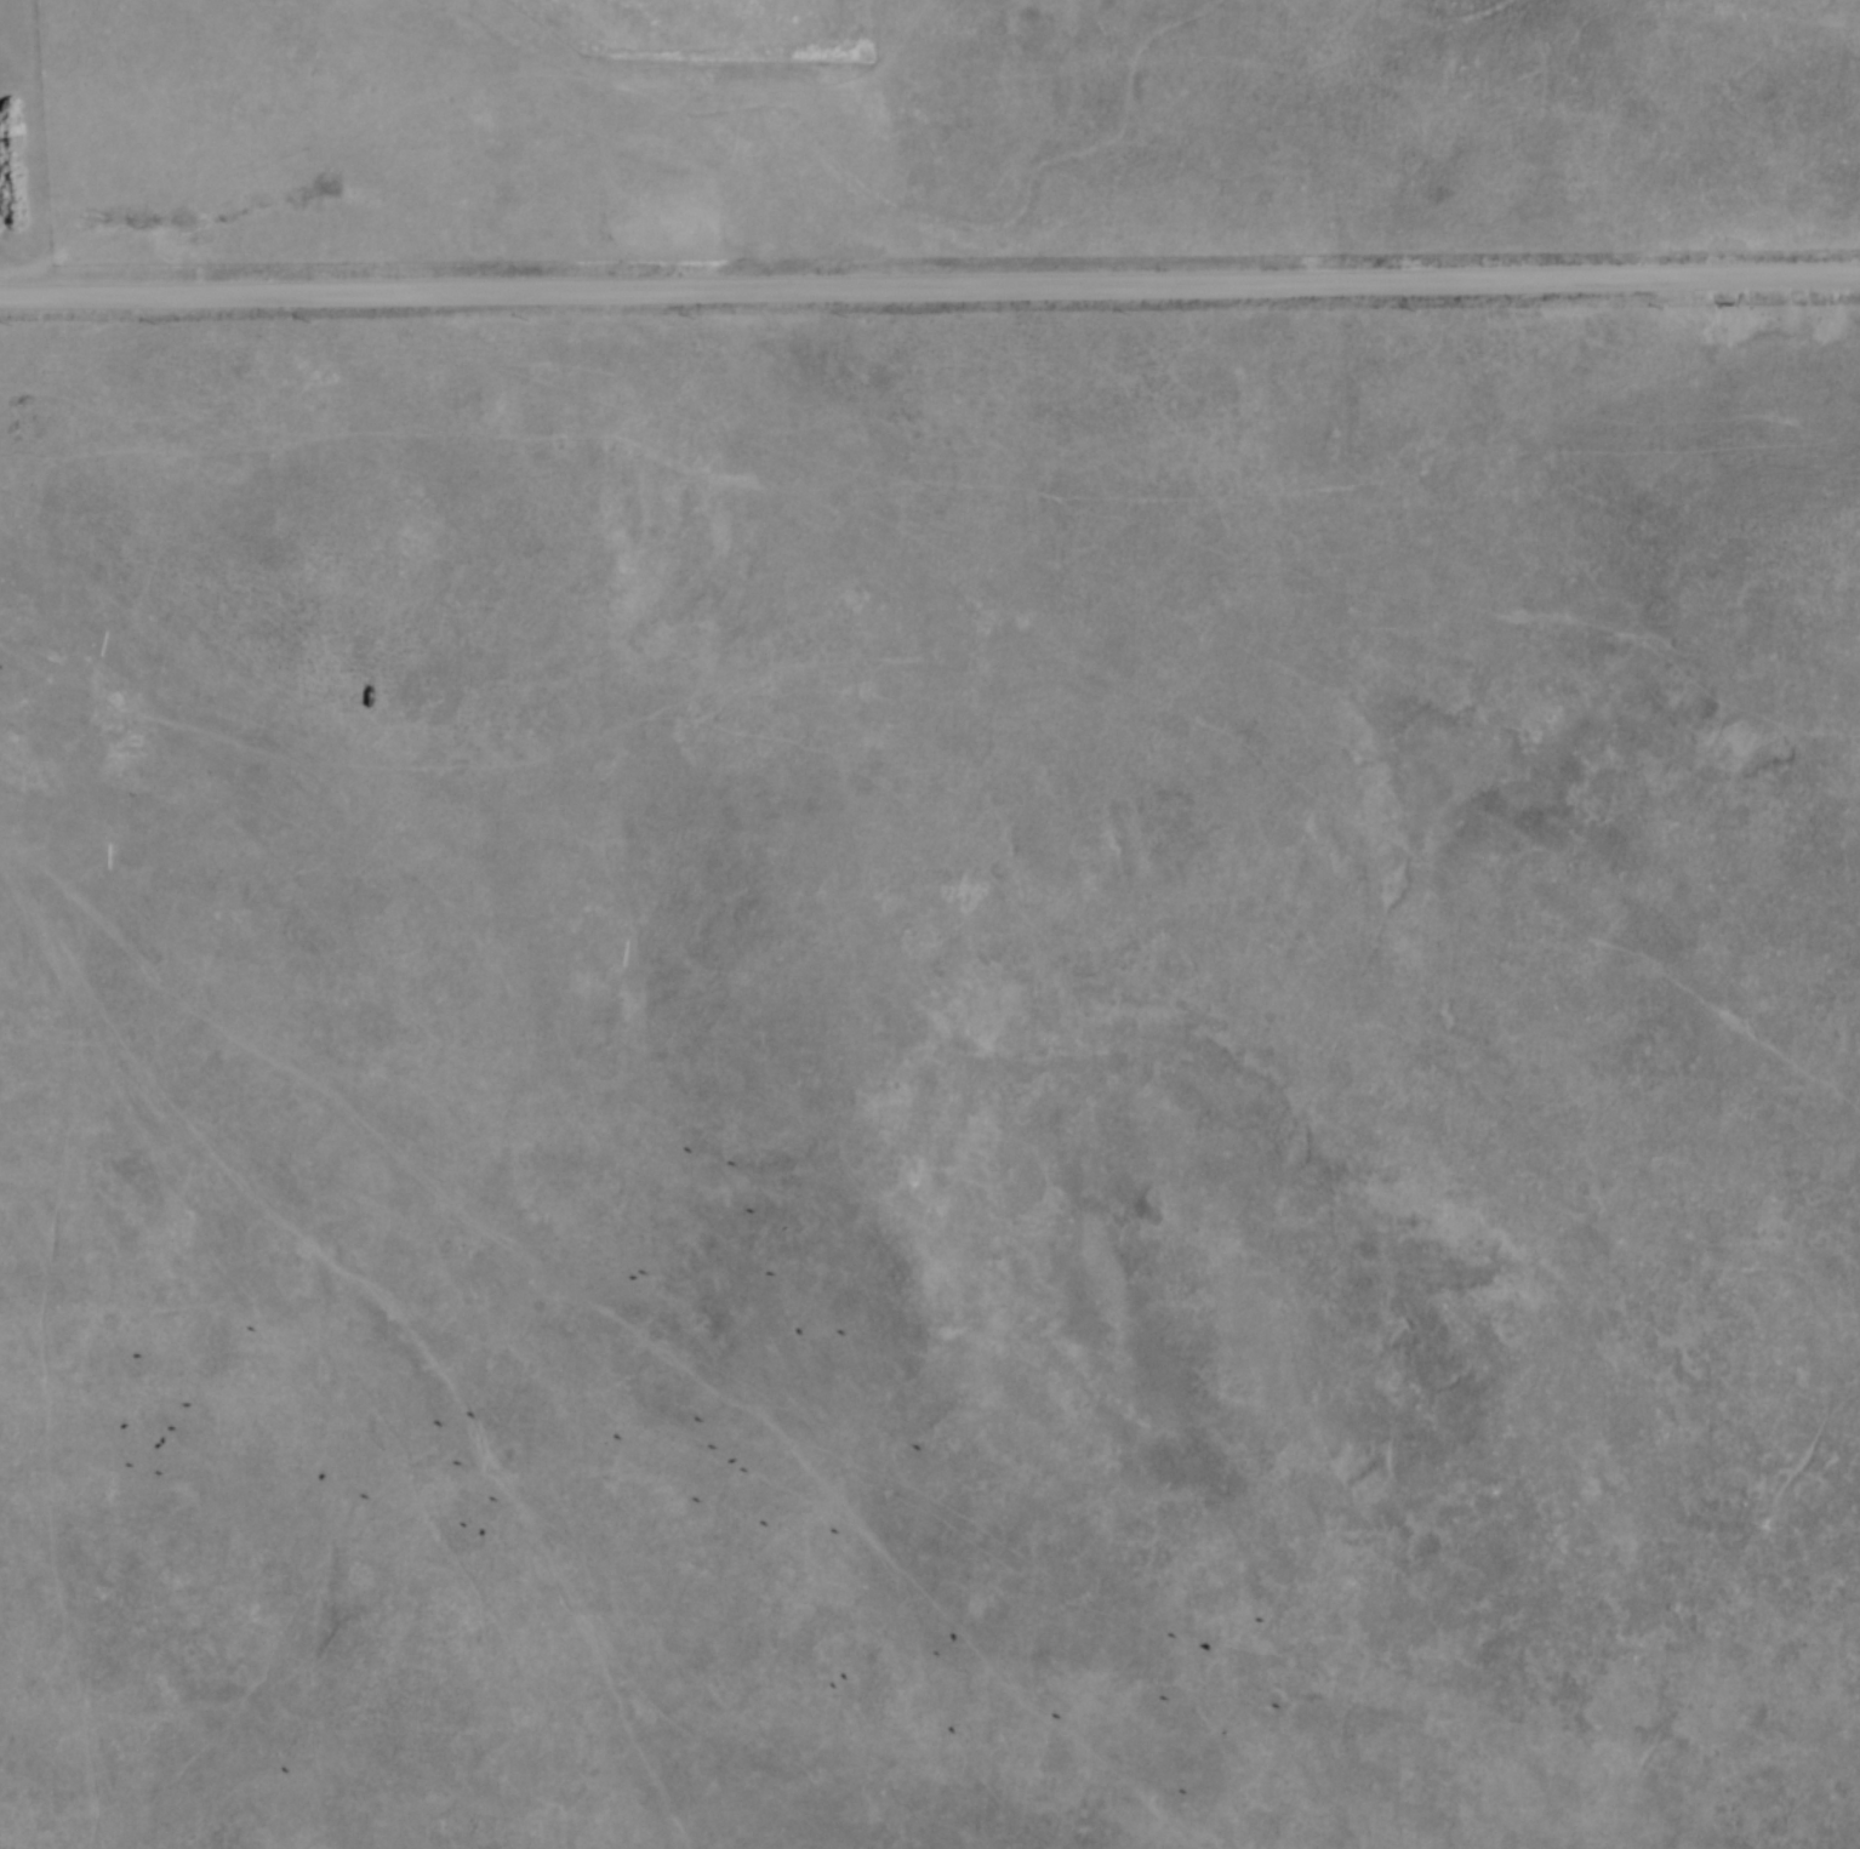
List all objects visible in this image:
road: (929, 290)

